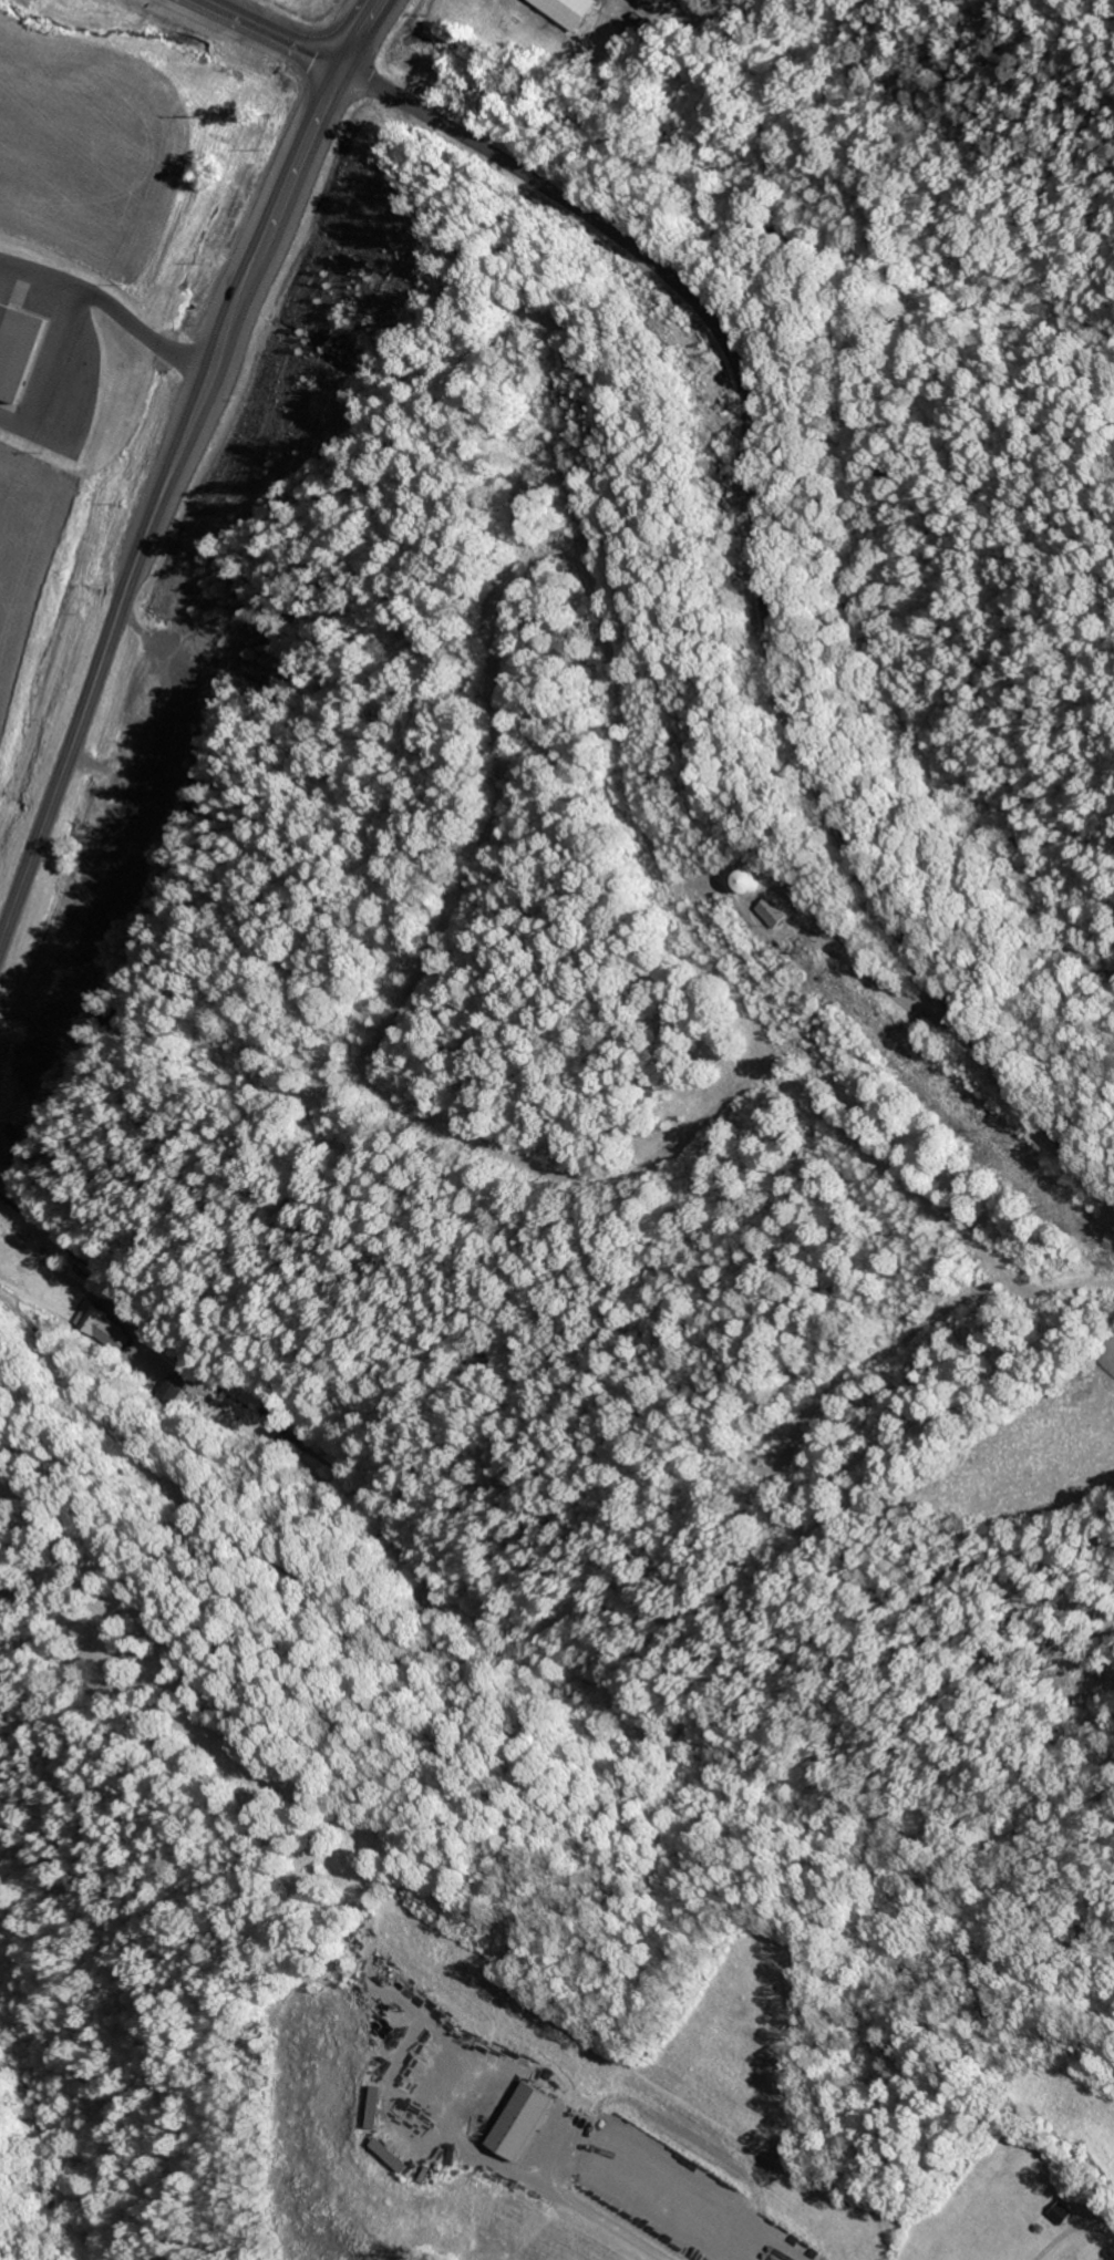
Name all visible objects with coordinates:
building: (566, 11)
road: (275, 33)
road: (364, 33)
building: (16, 350)
road: (158, 496)
road: (767, 578)
building: (750, 884)
building: (774, 912)
building: (101, 1328)
building: (172, 1387)
building: (518, 2122)
building: (390, 2156)

